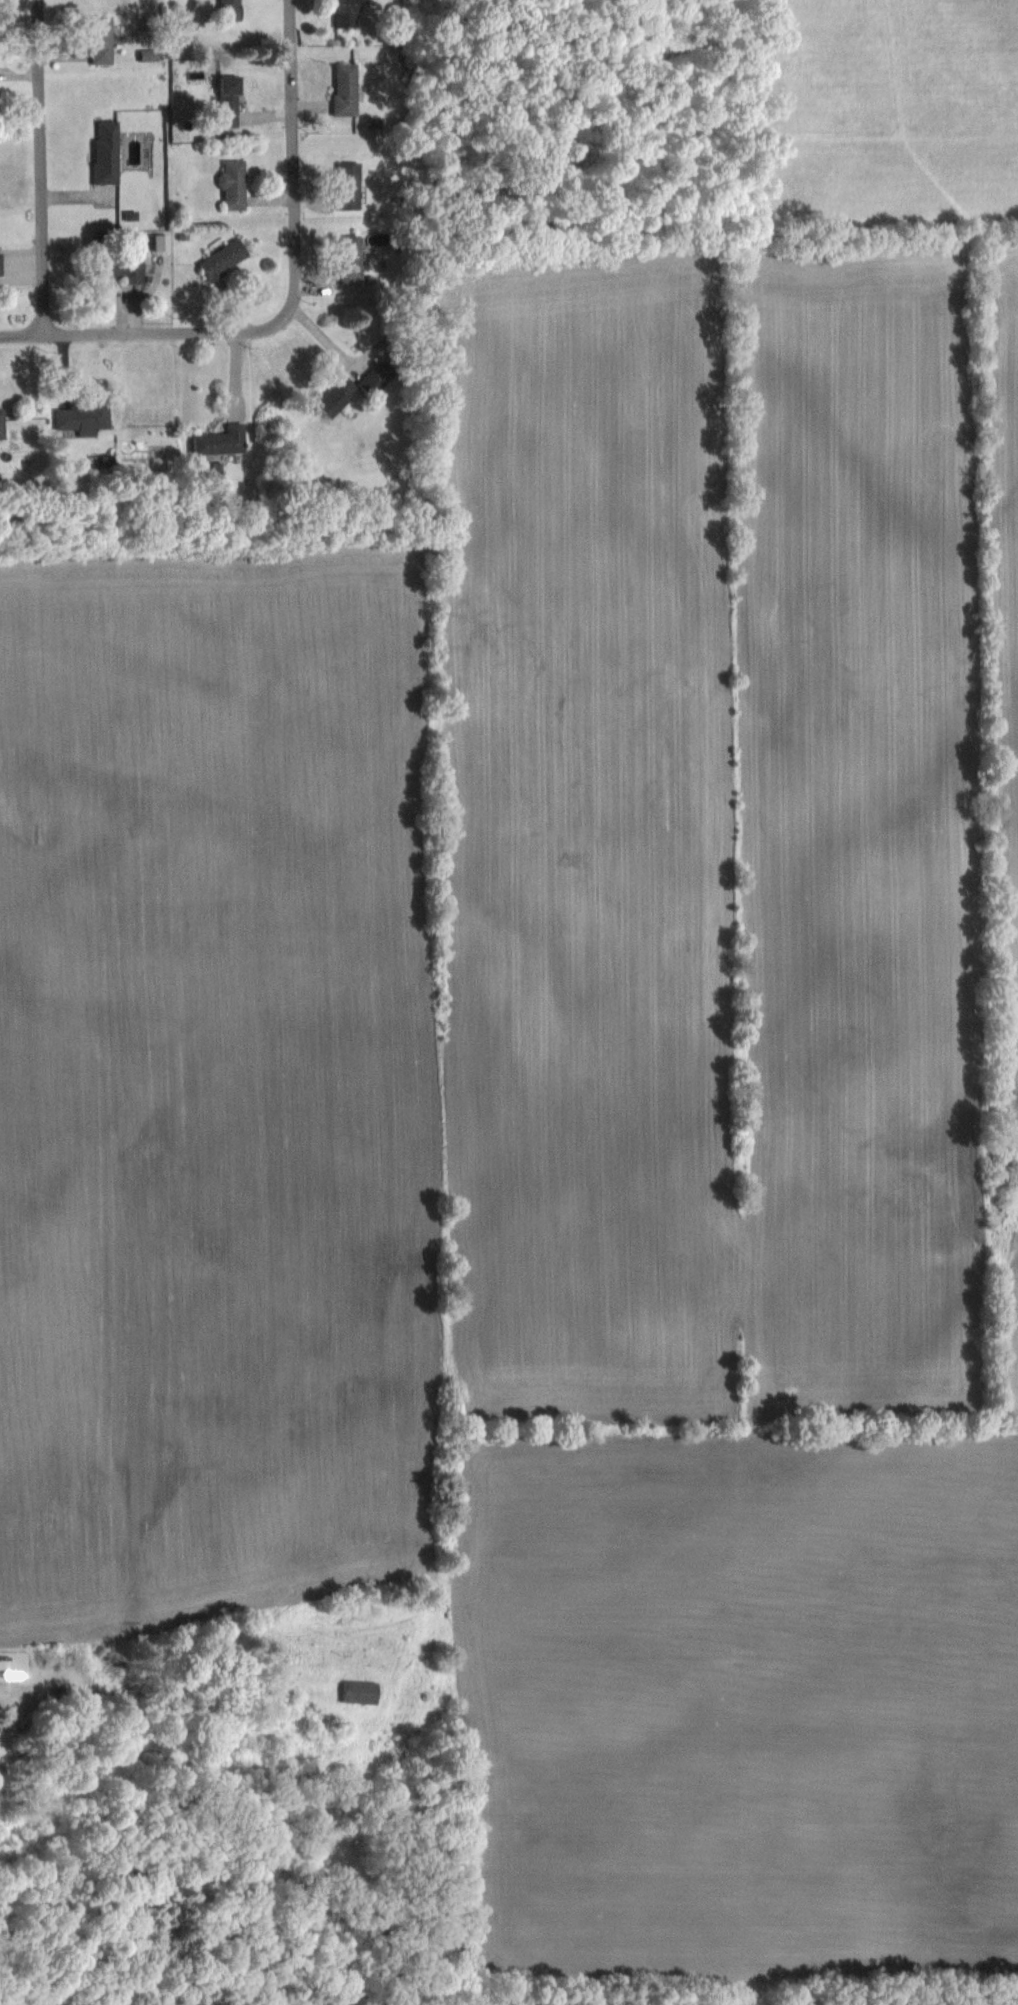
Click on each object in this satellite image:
building: (229, 9)
building: (344, 13)
building: (101, 39)
building: (344, 89)
building: (228, 100)
building: (105, 151)
road: (296, 161)
road: (40, 166)
building: (232, 183)
building: (347, 185)
building: (222, 260)
building: (349, 260)
building: (121, 265)
building: (0, 267)
road: (141, 330)
building: (376, 378)
building: (334, 396)
building: (82, 419)
building: (2, 424)
building: (221, 441)
crop: (578, 1043)
building: (359, 1691)

